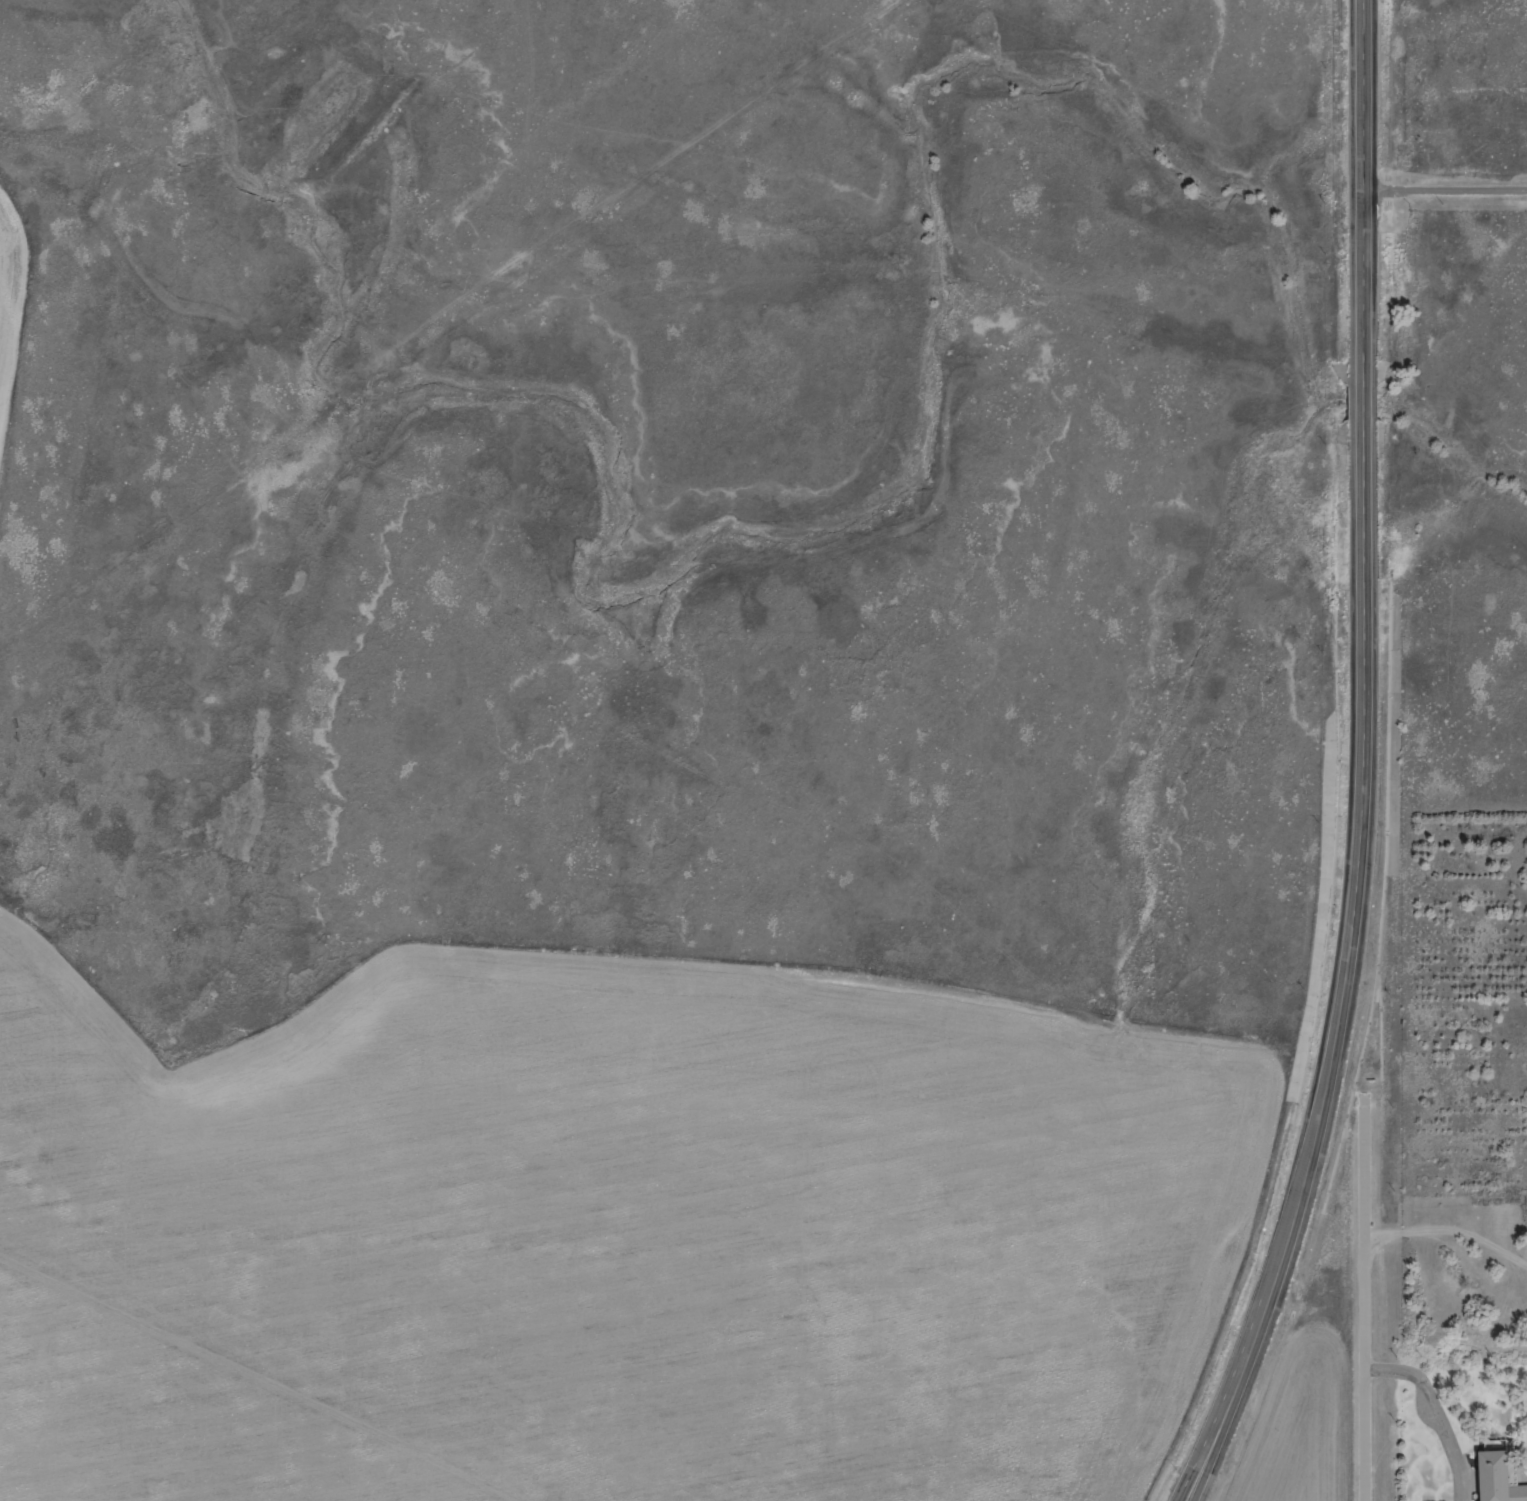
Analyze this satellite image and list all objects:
road: (1444, 188)
road: (1365, 709)
road: (1370, 1196)
road: (1208, 1451)
building: (1493, 1479)

